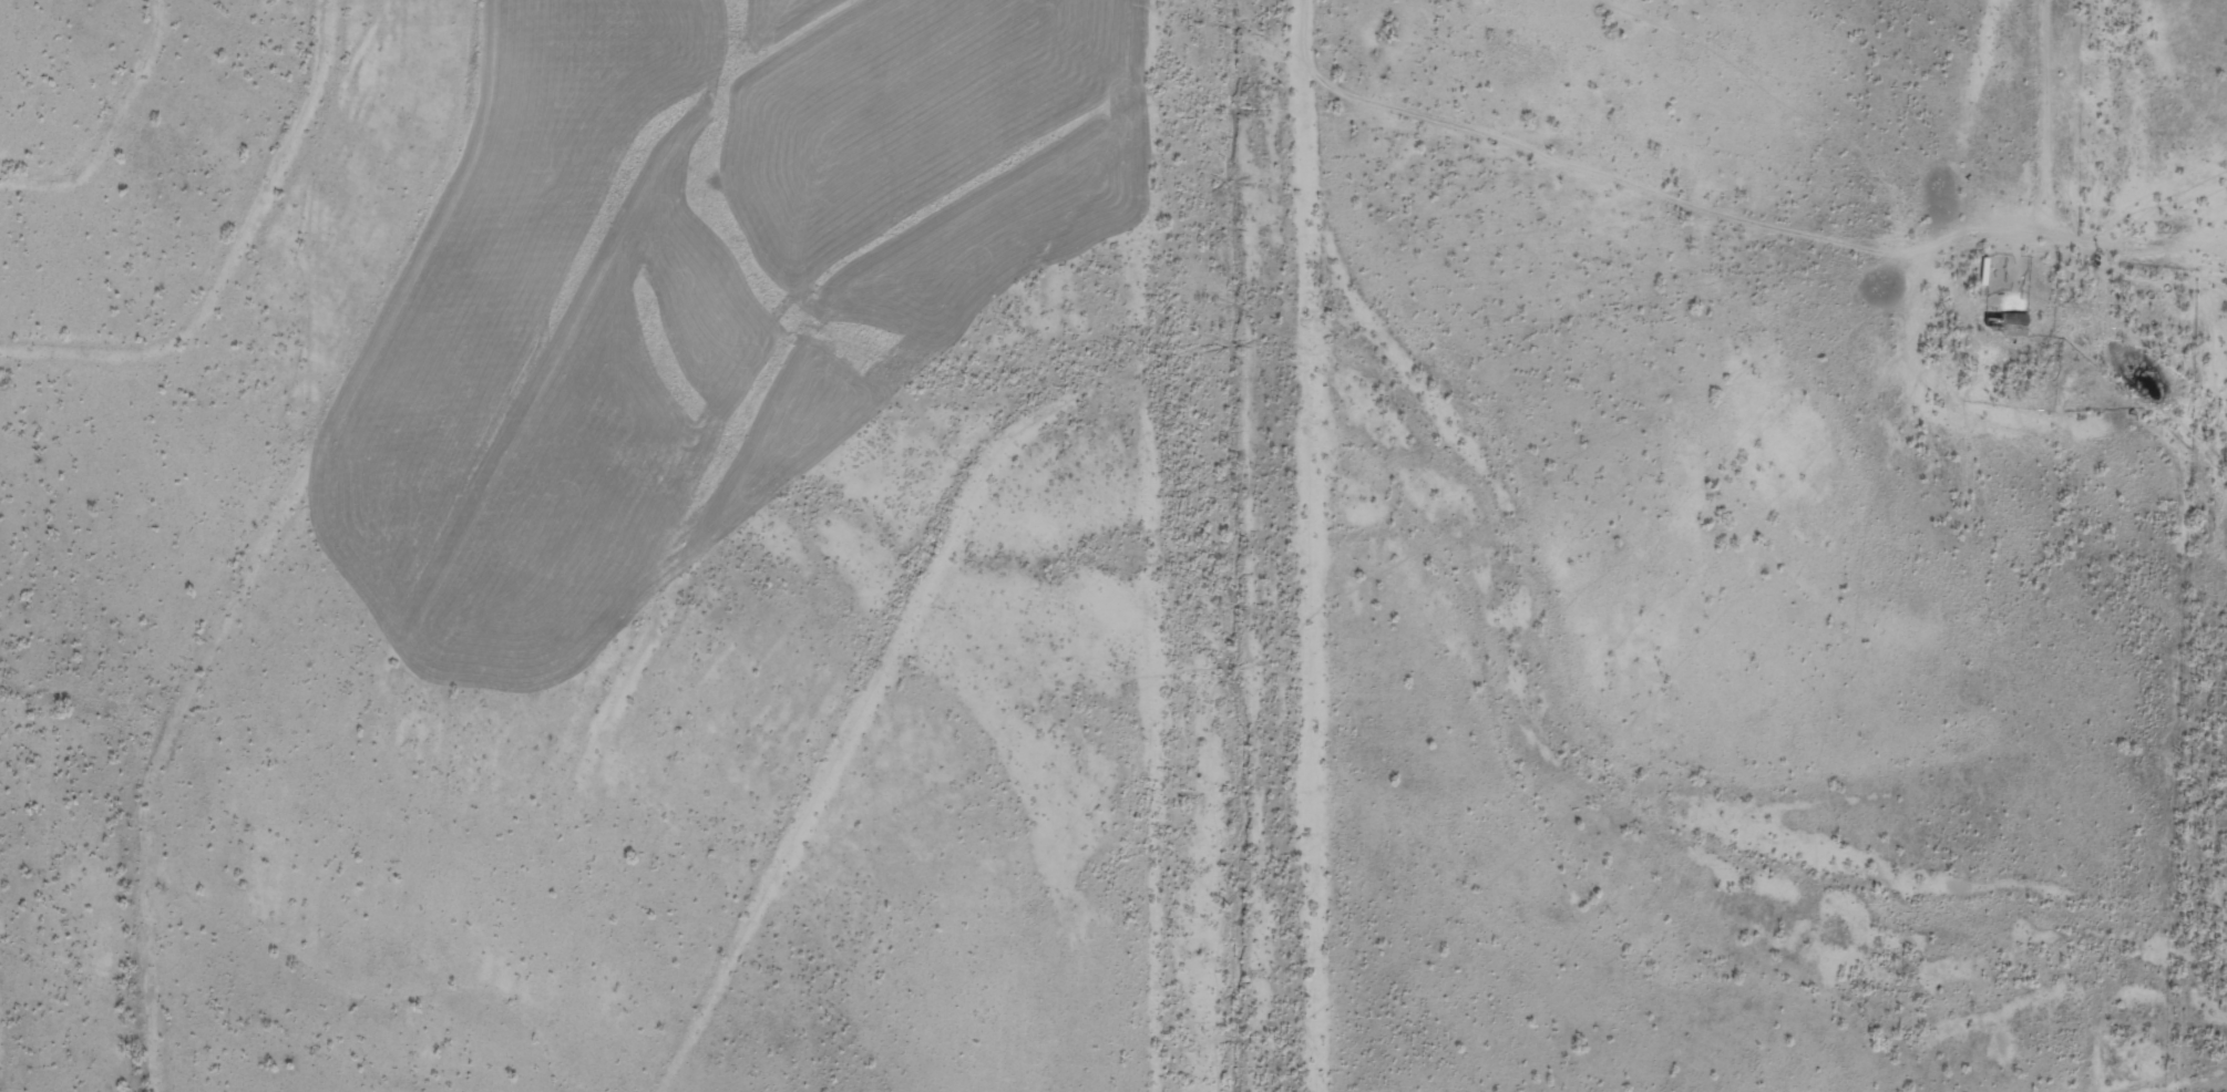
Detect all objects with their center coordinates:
road: (2124, 144)
building: (2004, 323)

